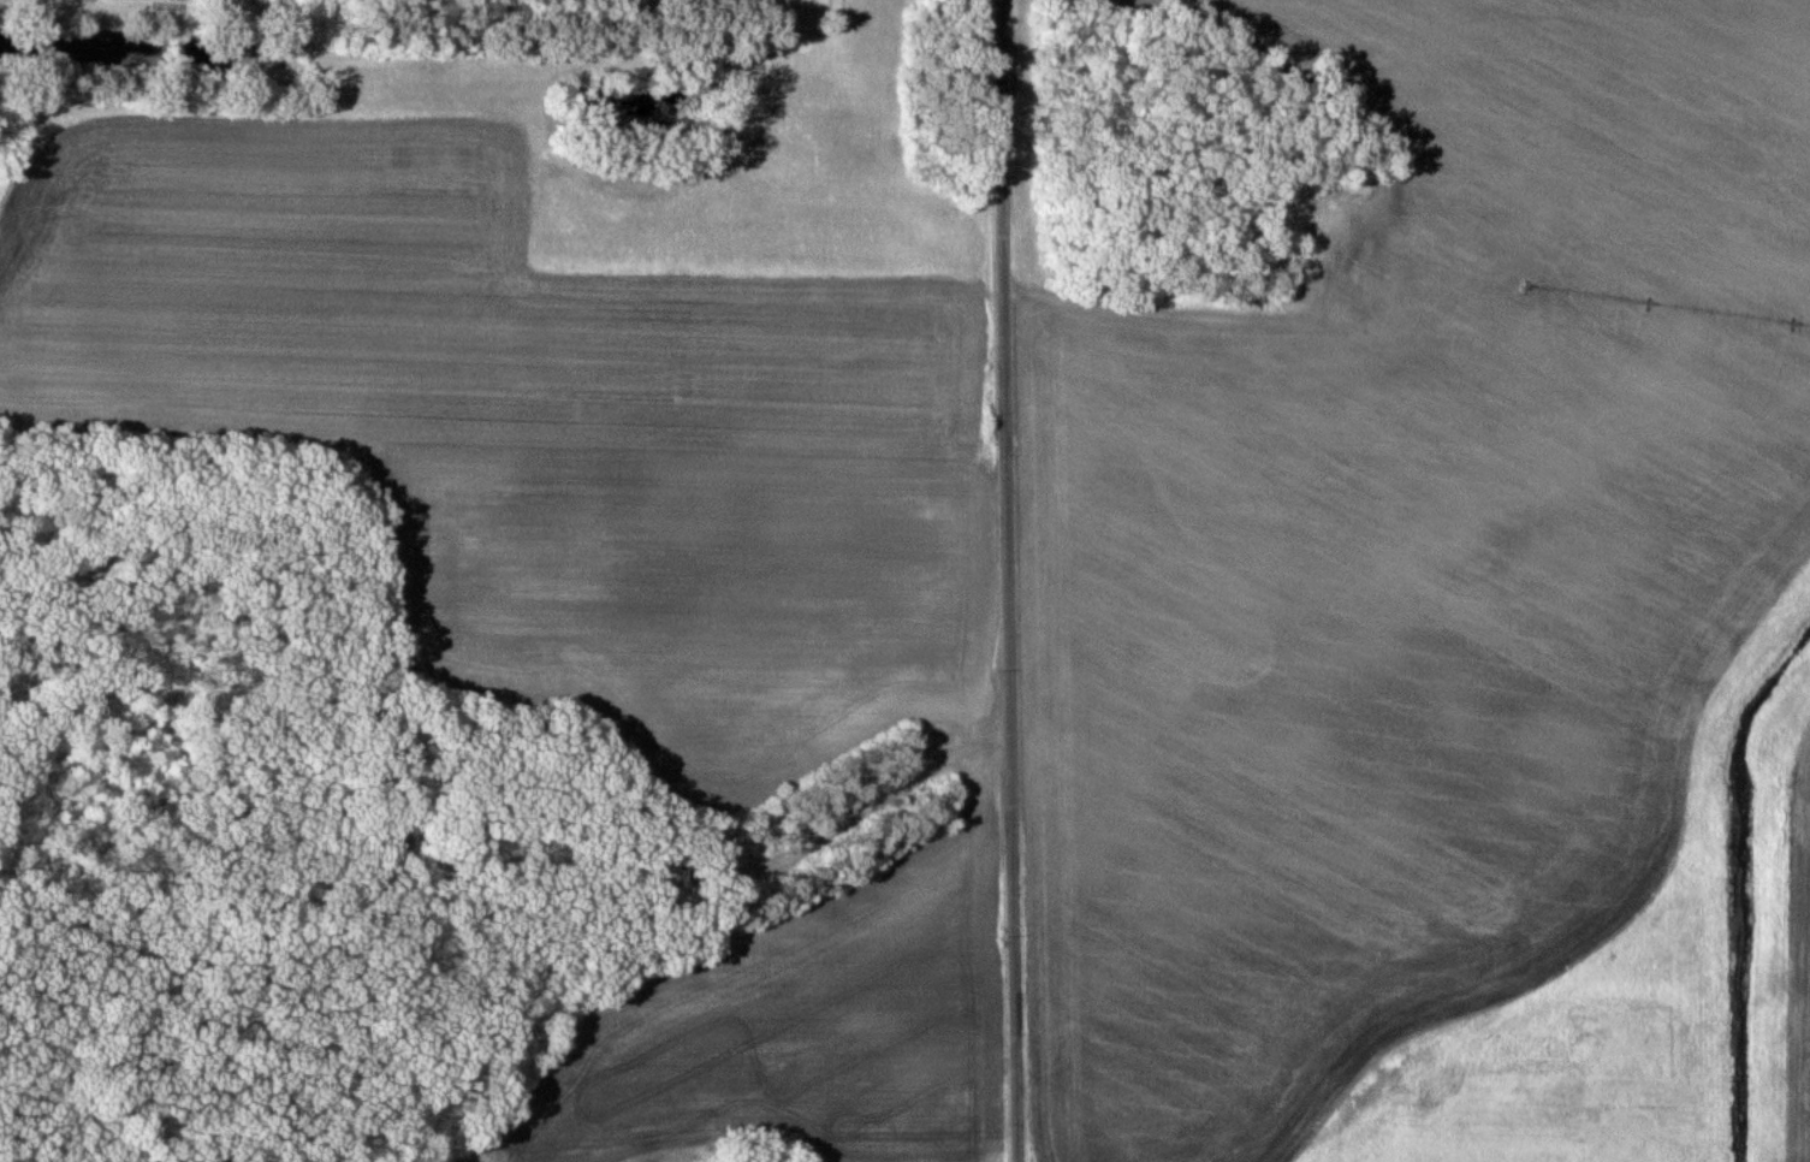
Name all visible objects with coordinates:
road: (1014, 581)

